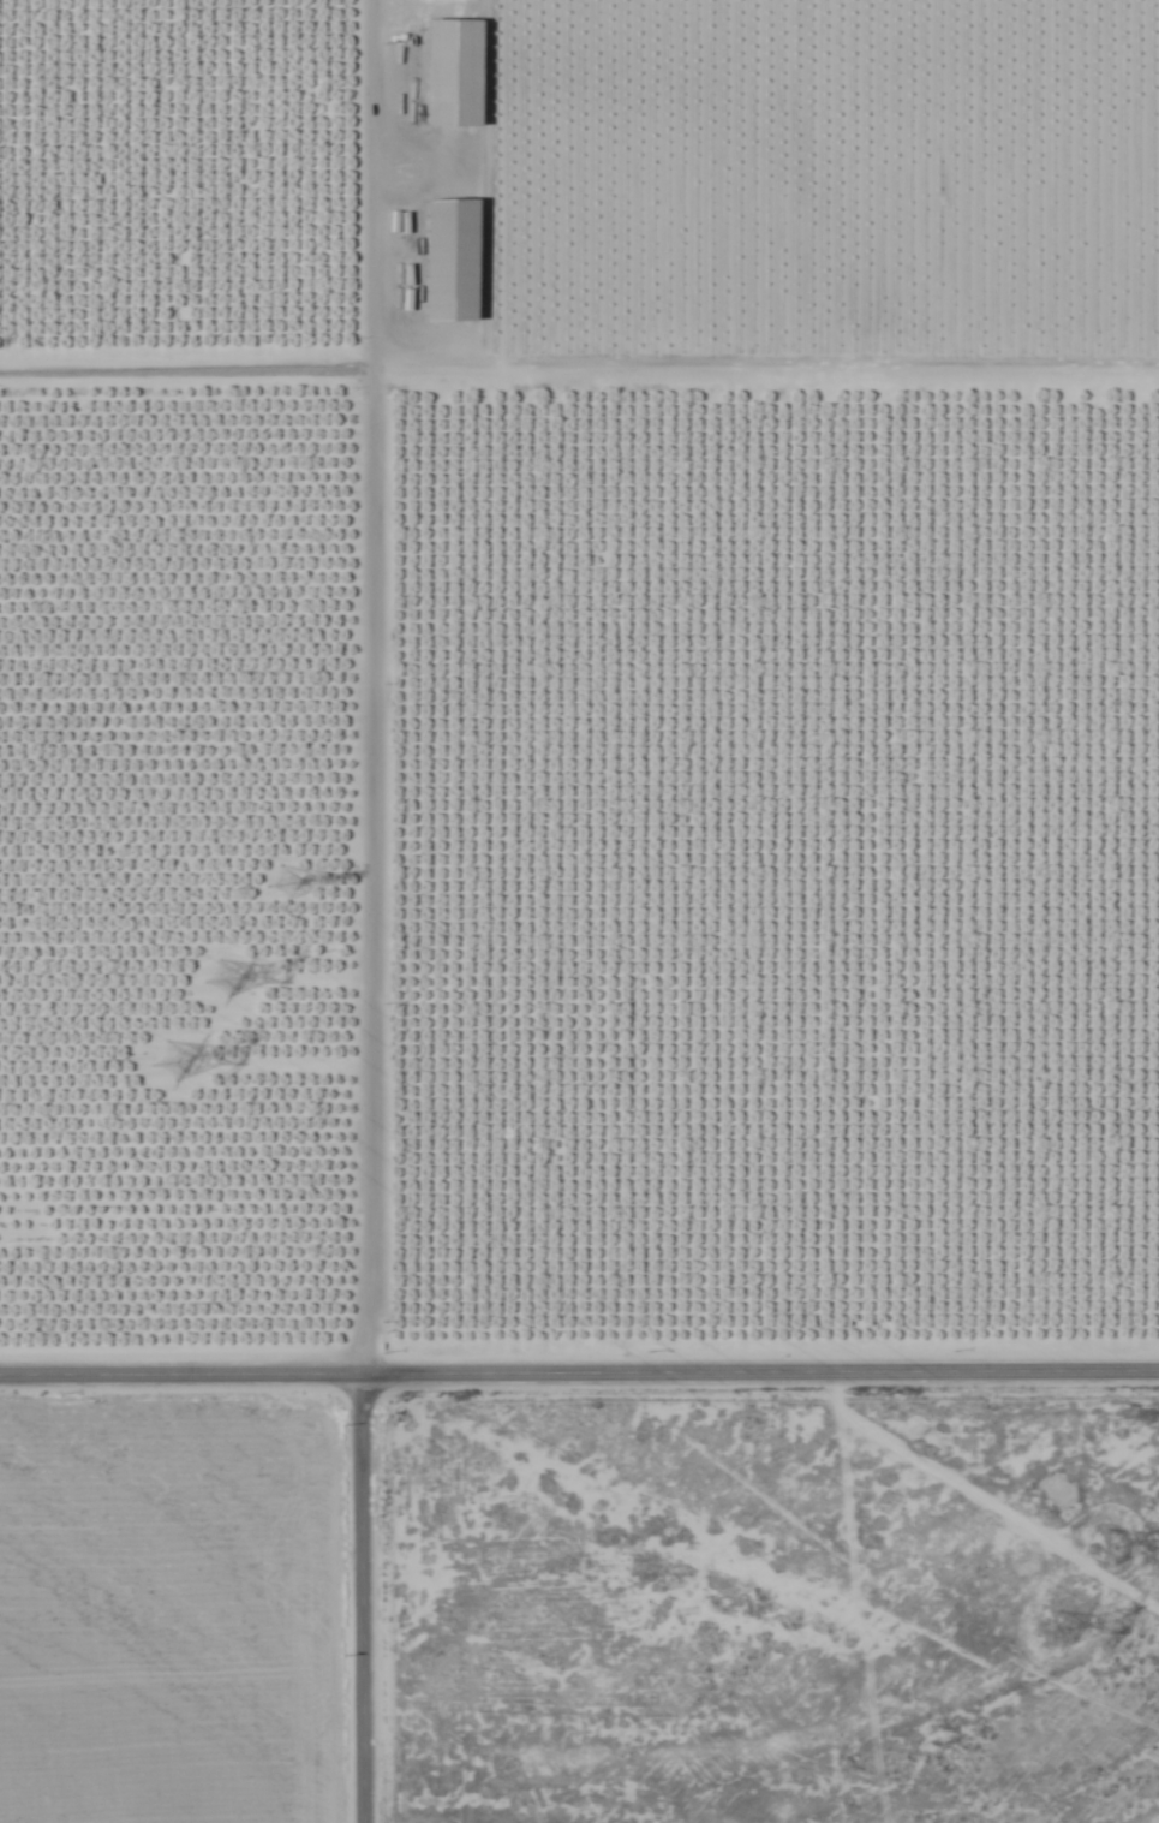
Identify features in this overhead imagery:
building: (461, 72)
building: (459, 261)
road: (346, 680)
power tower: (281, 880)
crop: (579, 911)
power tower: (225, 984)
power tower: (191, 1065)
road: (579, 1362)
power tower: (1127, 1416)
power tower: (1115, 1550)
road: (357, 1592)
power tower: (1064, 1636)

